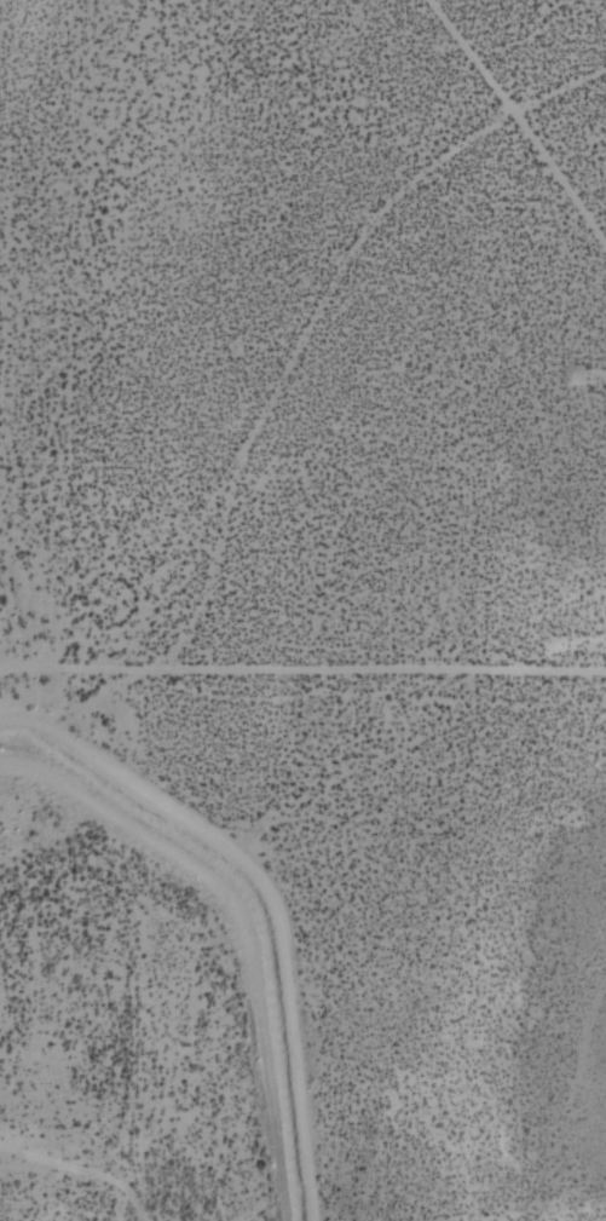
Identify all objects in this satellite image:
road: (533, 114)
road: (329, 316)
road: (302, 666)
road: (271, 893)
road: (237, 931)

